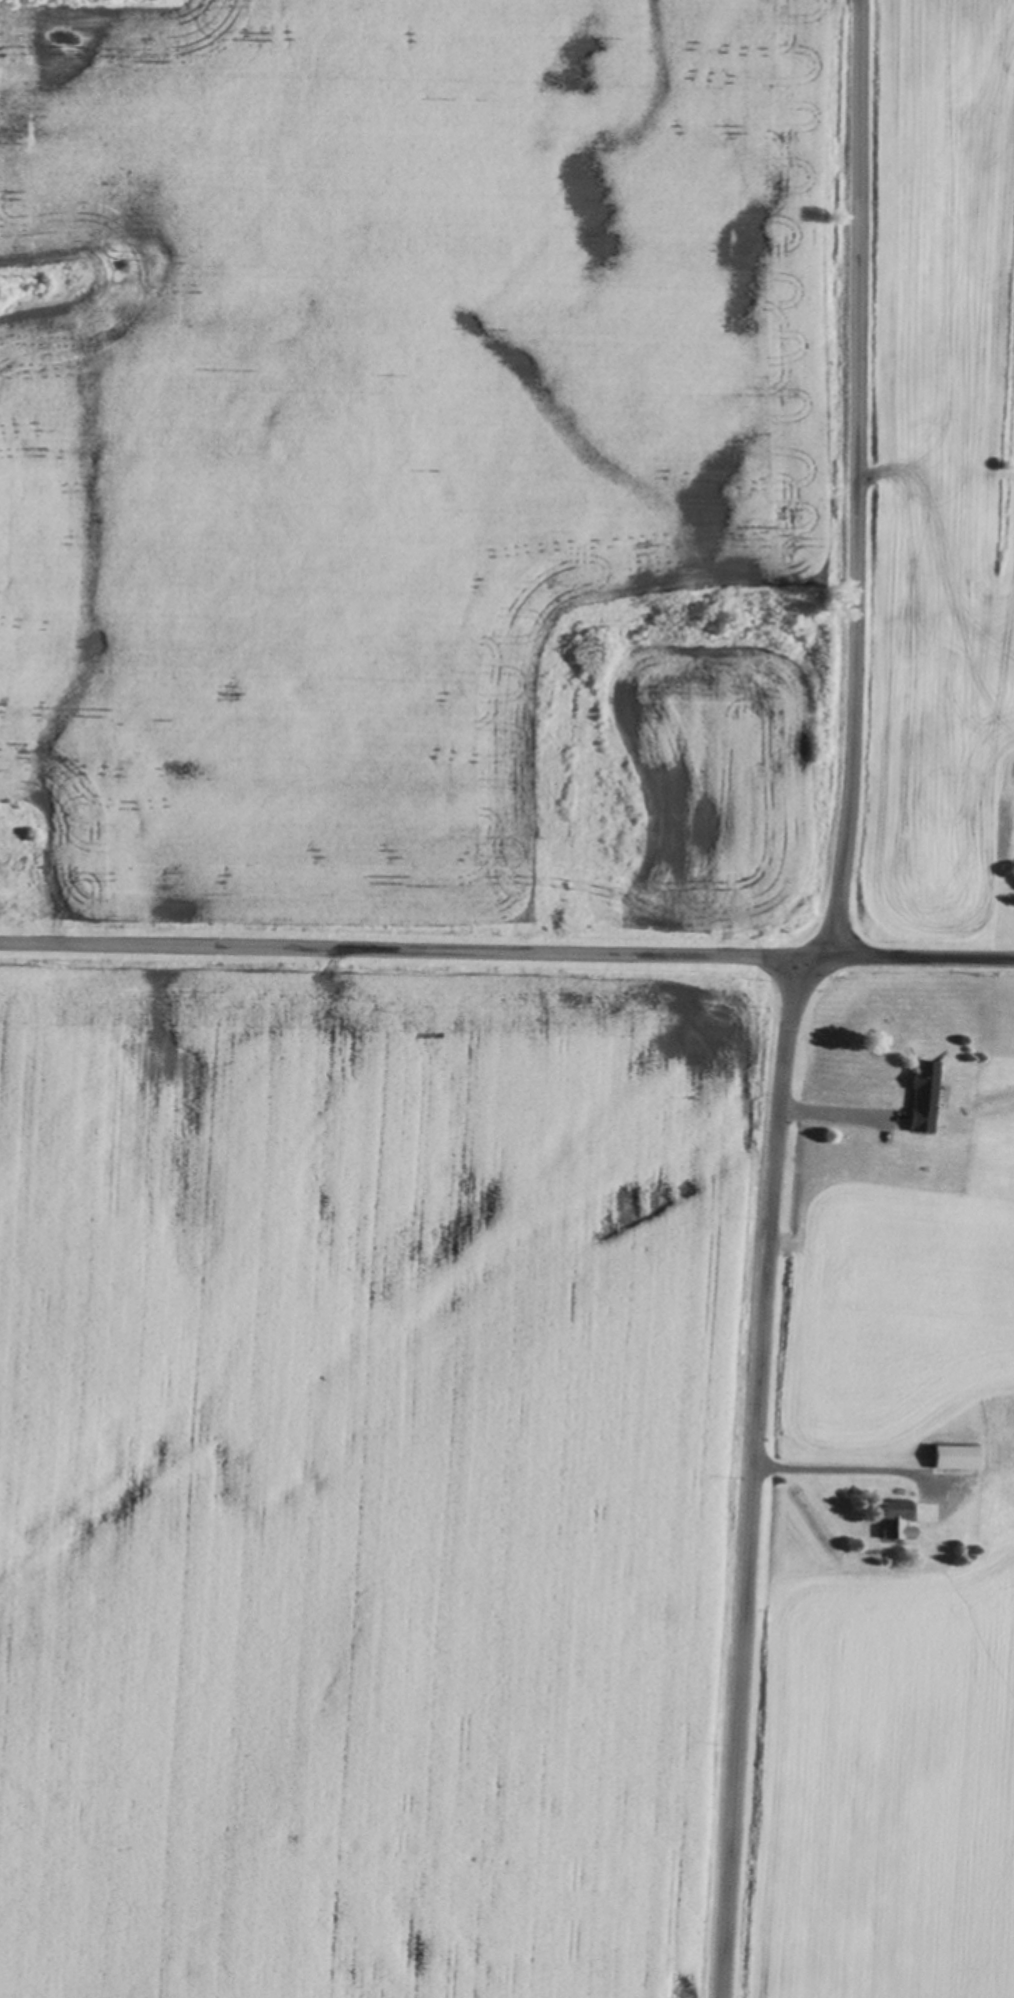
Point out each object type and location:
road: (506, 955)
road: (789, 994)
building: (920, 1097)
road: (826, 1113)
building: (953, 1460)
road: (851, 1472)
building: (900, 1521)

